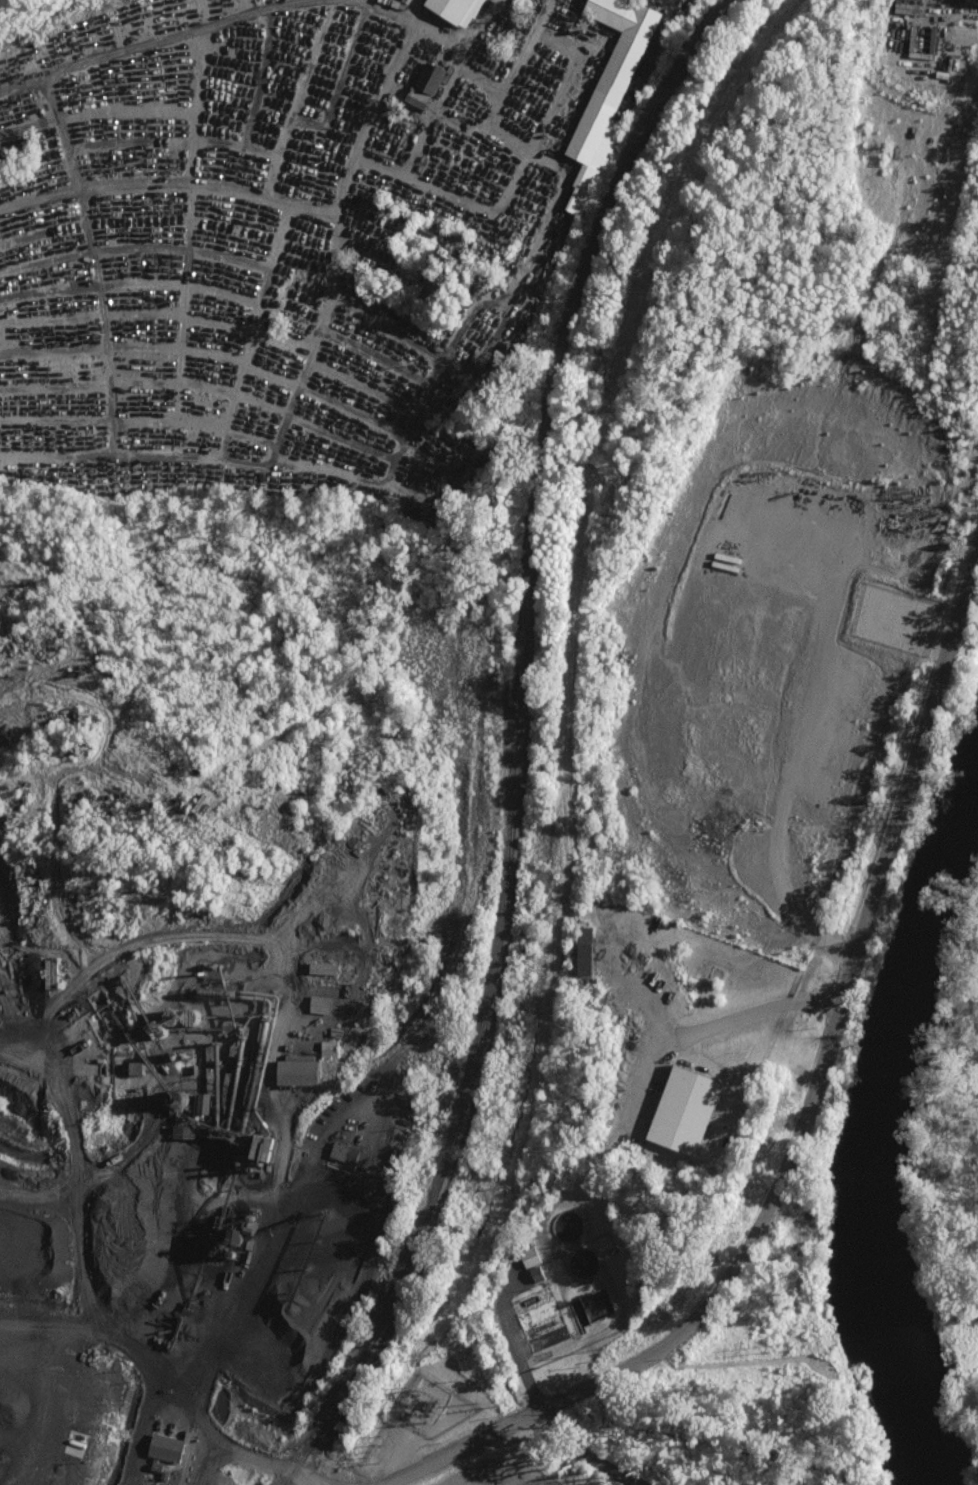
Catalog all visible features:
building: (904, 7)
building: (451, 9)
road: (404, 12)
road: (150, 41)
building: (425, 77)
building: (602, 96)
building: (411, 97)
road: (424, 126)
road: (313, 210)
building: (438, 257)
building: (420, 286)
road: (436, 393)
railway: (517, 743)
road: (279, 943)
building: (579, 951)
building: (318, 968)
building: (47, 973)
building: (316, 1004)
road: (749, 1016)
building: (293, 1070)
building: (198, 1103)
building: (678, 1111)
railway: (317, 1123)
river: (884, 1123)
road: (815, 1124)
building: (340, 1153)
road: (42, 1199)
road: (89, 1235)
building: (526, 1257)
building: (532, 1274)
building: (161, 1447)

